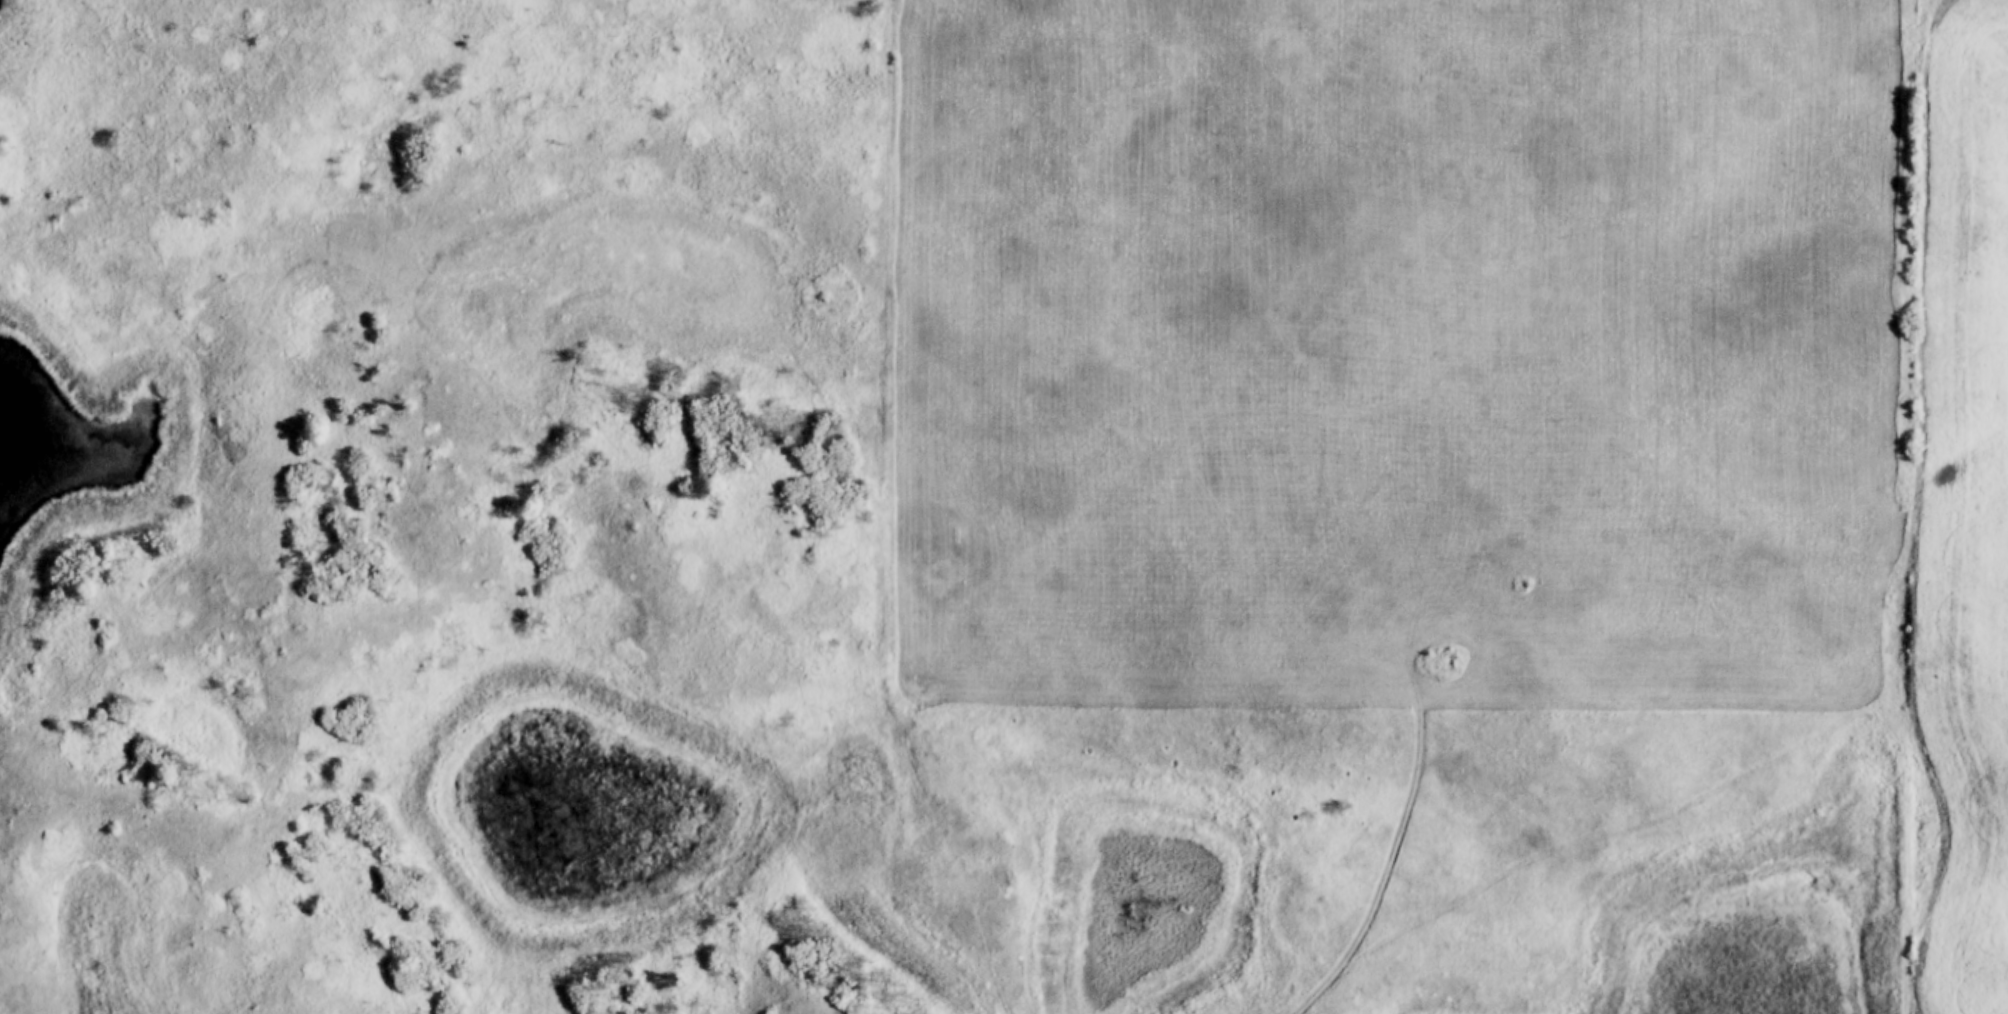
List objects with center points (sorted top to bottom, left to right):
road: (531, 602)

